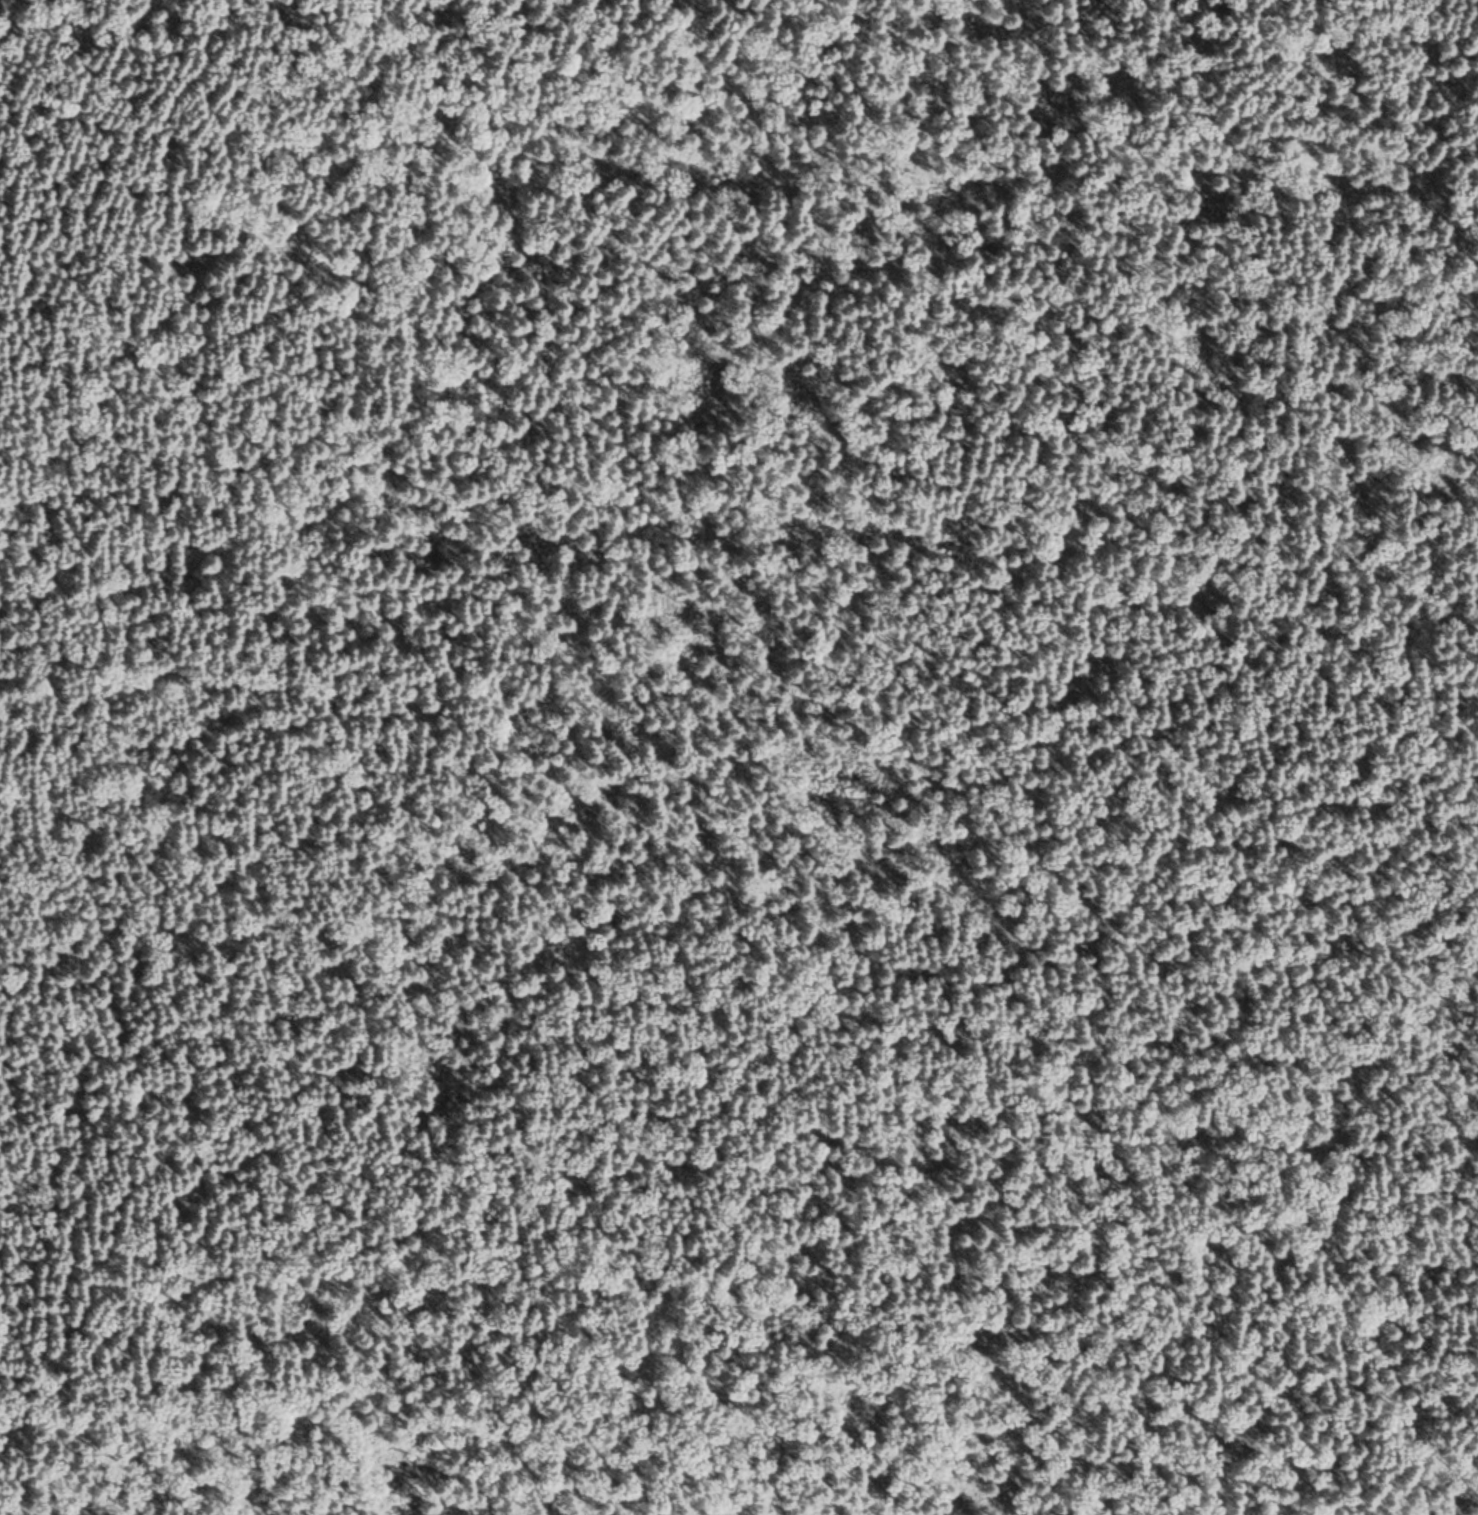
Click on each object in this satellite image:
road: (882, 735)

